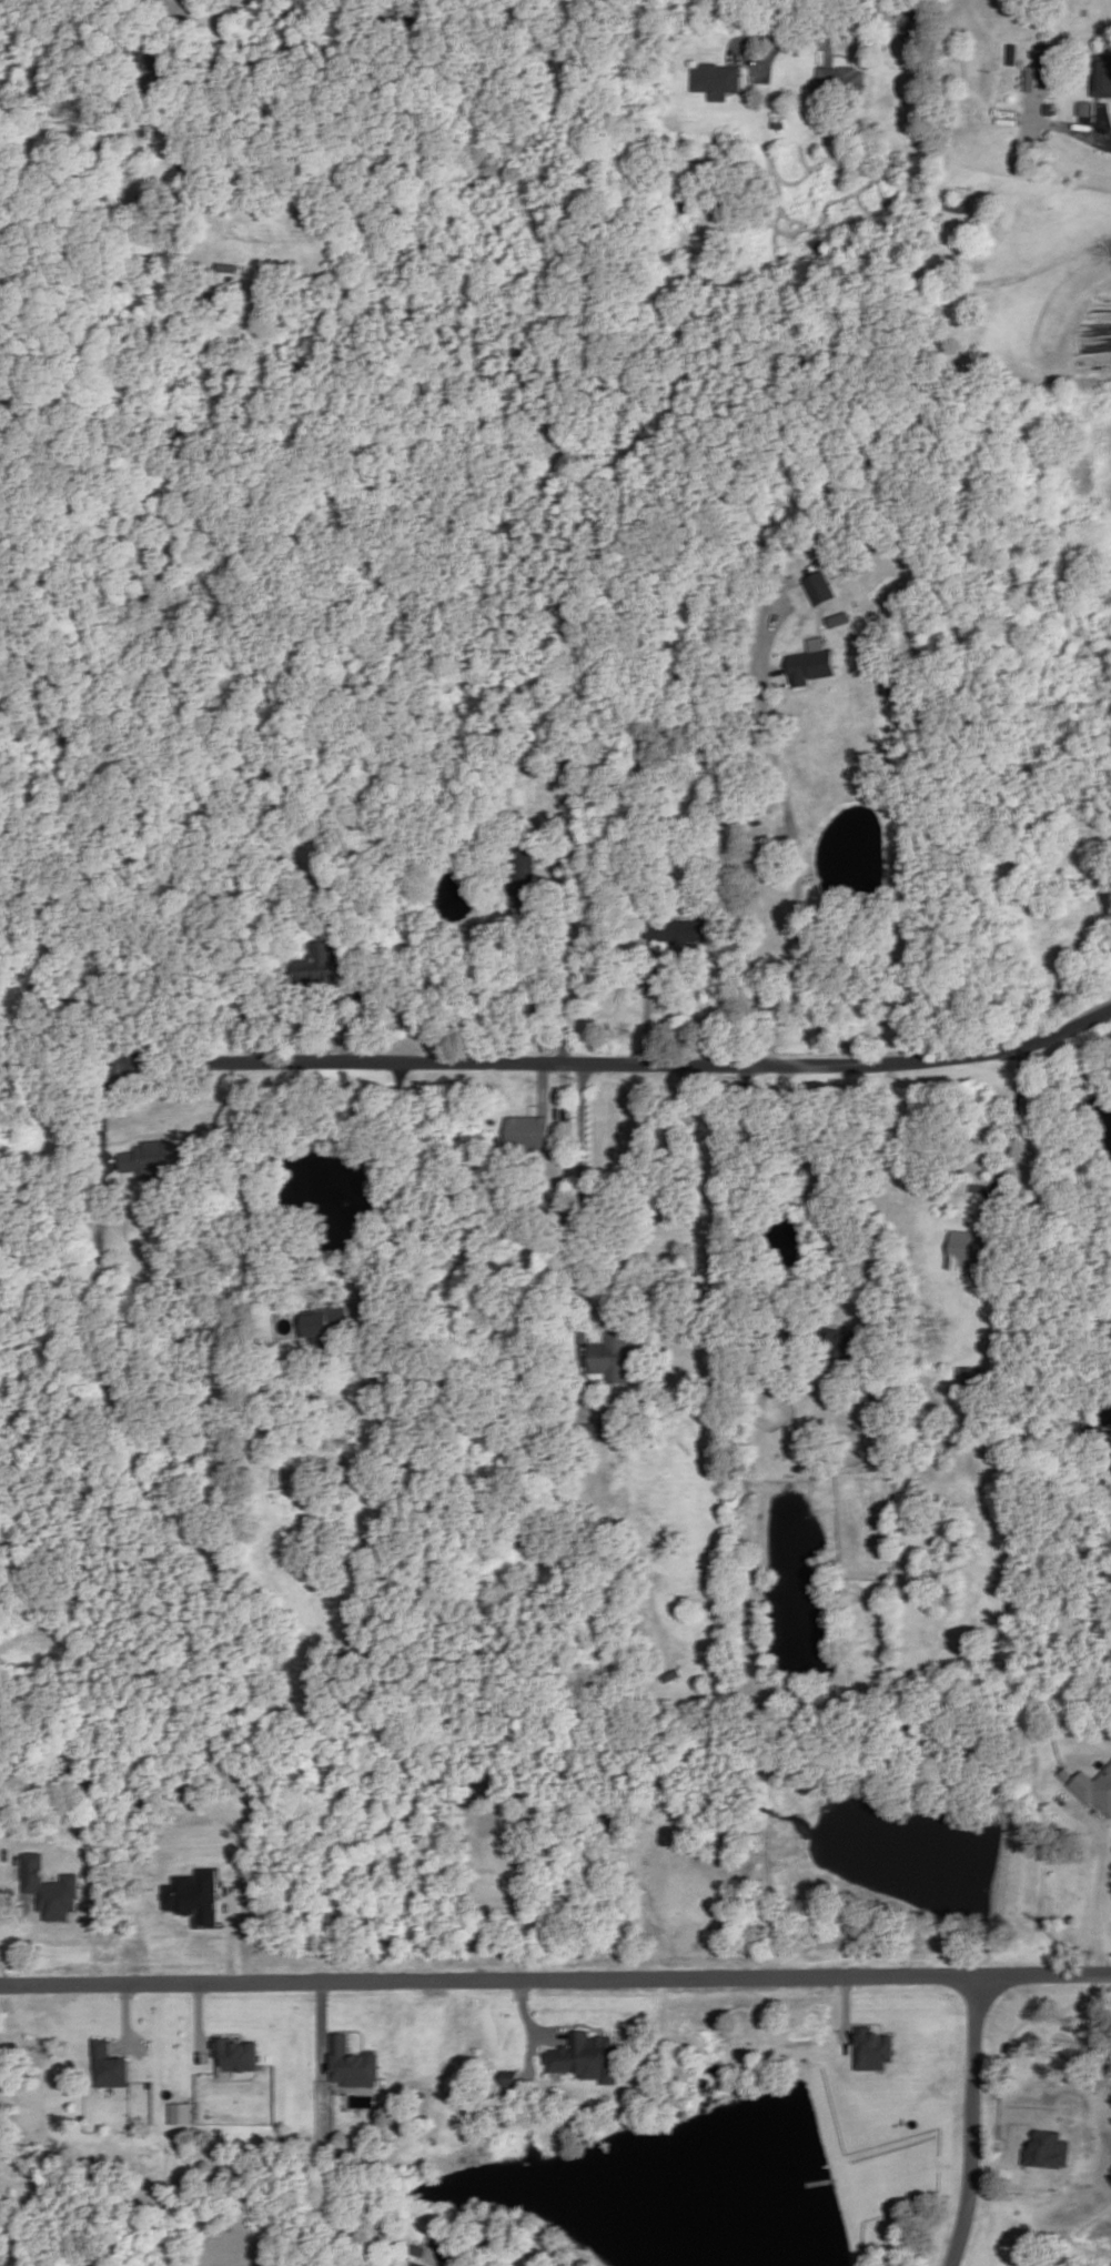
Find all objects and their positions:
building: (403, 14)
building: (910, 19)
road: (828, 29)
road: (770, 31)
building: (154, 60)
building: (1040, 63)
building: (1024, 78)
building: (1098, 80)
building: (716, 81)
building: (840, 82)
building: (1043, 109)
building: (1079, 109)
building: (1002, 117)
building: (779, 121)
road: (1070, 132)
building: (689, 205)
building: (697, 276)
building: (819, 587)
building: (838, 618)
building: (810, 662)
road: (796, 844)
building: (521, 873)
building: (684, 930)
building: (313, 971)
road: (555, 979)
road: (646, 1010)
road: (344, 1013)
road: (629, 1064)
road: (542, 1088)
road: (110, 1118)
building: (528, 1134)
road: (564, 1135)
road: (281, 1138)
building: (149, 1161)
road: (748, 1181)
road: (400, 1185)
road: (580, 1196)
building: (541, 1204)
building: (967, 1248)
building: (324, 1322)
building: (999, 1356)
building: (618, 1357)
building: (969, 1376)
building: (125, 1398)
building: (596, 1433)
building: (285, 1480)
building: (1094, 1787)
building: (50, 1889)
building: (193, 1895)
road: (1104, 1904)
road: (555, 1980)
road: (528, 2023)
road: (320, 2030)
building: (872, 2048)
building: (235, 2055)
road: (531, 2057)
building: (592, 2057)
building: (354, 2065)
building: (513, 2079)
building: (181, 2113)
road: (971, 2122)
building: (1047, 2149)
pier: (826, 2189)
building: (418, 2252)
building: (458, 2257)
building: (417, 2265)

